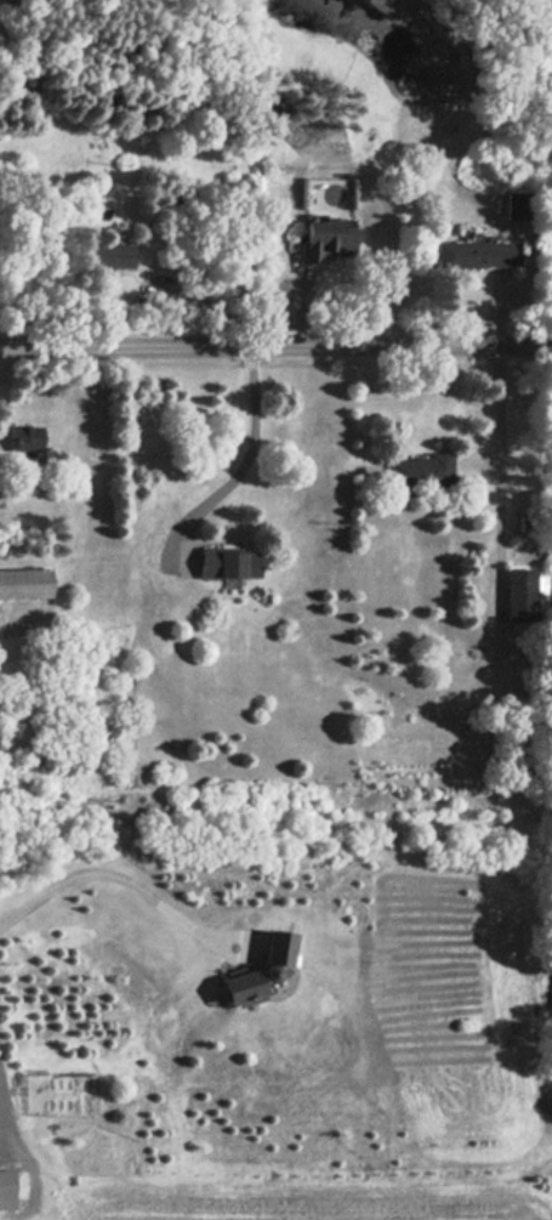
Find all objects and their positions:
building: (514, 205)
building: (326, 238)
building: (478, 254)
building: (113, 255)
road: (275, 342)
road: (8, 364)
building: (27, 438)
road: (255, 446)
building: (421, 470)
road: (503, 488)
building: (229, 562)
building: (24, 583)
road: (120, 876)
building: (279, 947)
building: (243, 986)
road: (2, 1118)
building: (11, 1186)

